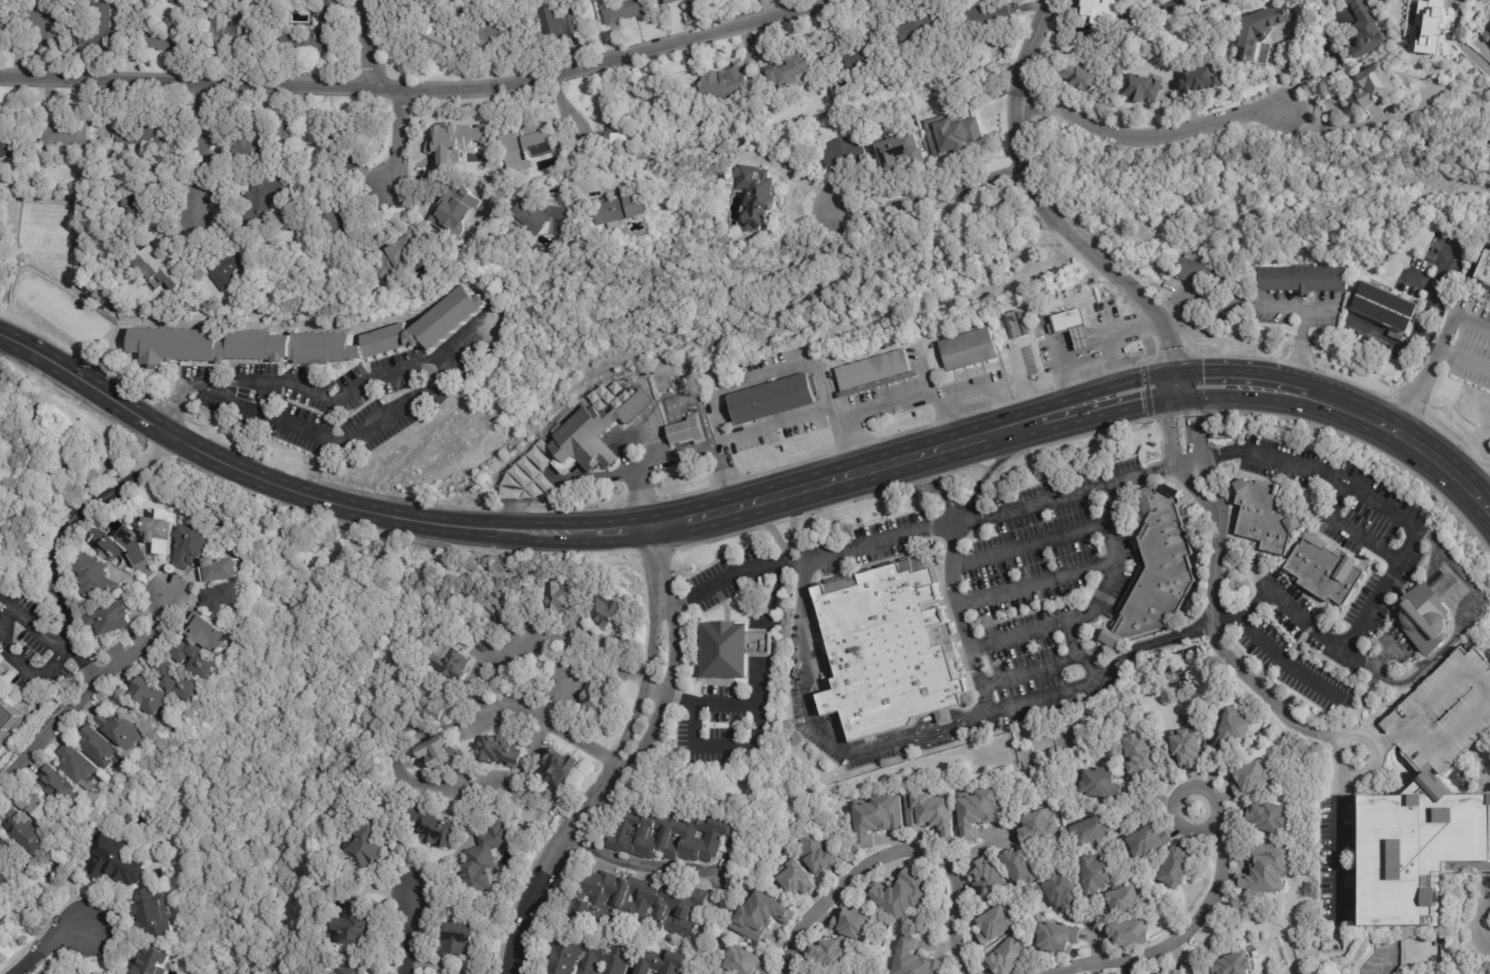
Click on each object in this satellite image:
building: (214, 0)
building: (698, 0)
building: (670, 1)
building: (1169, 6)
building: (1098, 7)
building: (628, 10)
building: (986, 19)
building: (566, 22)
building: (2, 23)
building: (1430, 26)
building: (40, 28)
building: (103, 29)
building: (319, 30)
building: (925, 31)
building: (1364, 31)
building: (1259, 33)
building: (236, 34)
building: (500, 34)
building: (169, 37)
building: (1488, 37)
building: (434, 39)
road: (367, 43)
building: (856, 54)
road: (1472, 57)
building: (801, 70)
building: (1473, 71)
road: (1318, 73)
building: (1075, 76)
building: (1198, 80)
building: (724, 81)
road: (422, 86)
building: (1371, 86)
building: (1141, 88)
road: (1017, 99)
building: (1459, 107)
road: (565, 132)
building: (147, 134)
building: (958, 134)
building: (613, 136)
road: (1150, 136)
building: (69, 138)
road: (398, 138)
building: (263, 140)
building: (11, 144)
road: (202, 145)
building: (346, 148)
building: (525, 148)
building: (903, 148)
building: (450, 151)
building: (845, 151)
building: (498, 186)
building: (514, 194)
road: (929, 194)
building: (269, 202)
building: (145, 207)
building: (459, 210)
building: (625, 210)
building: (756, 212)
building: (545, 217)
building: (338, 222)
road: (1074, 240)
building: (0, 241)
building: (402, 254)
building: (233, 267)
building: (1192, 267)
building: (1483, 270)
building: (165, 274)
building: (1303, 278)
road: (1417, 280)
road: (1428, 294)
road: (1227, 297)
building: (1383, 306)
building: (451, 314)
building: (1016, 325)
building: (1073, 326)
gas station: (1075, 327)
road: (1162, 329)
road: (1129, 331)
road: (471, 333)
road: (1301, 336)
road: (1392, 339)
parking lot: (1470, 344)
building: (263, 346)
traffic signals: (1169, 350)
building: (970, 351)
parking lot: (1046, 353)
road: (1435, 356)
road: (1465, 357)
road: (1082, 364)
traffic signals: (1203, 371)
building: (876, 373)
road: (1166, 374)
road: (764, 376)
road: (1294, 378)
road: (1259, 385)
road: (1019, 387)
road: (1285, 389)
building: (774, 399)
road: (1169, 399)
road: (1321, 399)
road: (697, 400)
traffic signals: (1142, 405)
road: (128, 410)
road: (833, 414)
traffic signals: (1194, 419)
road: (949, 420)
road: (1033, 421)
road: (661, 429)
road: (655, 432)
building: (686, 432)
road: (681, 434)
building: (592, 435)
road: (651, 435)
road: (647, 438)
road: (563, 441)
road: (155, 443)
road: (852, 443)
road: (685, 447)
road: (1421, 448)
road: (1198, 458)
road: (1188, 462)
road: (143, 463)
road: (1177, 464)
road: (724, 474)
road: (832, 479)
road: (1484, 491)
road: (637, 496)
road: (950, 506)
road: (1034, 507)
road: (378, 514)
building: (1264, 517)
road: (513, 519)
road: (667, 524)
road: (1343, 527)
road: (623, 530)
road: (547, 532)
road: (55, 537)
parking lot: (866, 542)
road: (1029, 542)
building: (123, 548)
building: (192, 549)
road: (833, 553)
road: (1395, 555)
building: (1159, 564)
building: (224, 571)
building: (1324, 571)
parking lot: (730, 576)
road: (721, 578)
building: (96, 579)
building: (902, 582)
road: (1036, 582)
parking lot: (1034, 589)
building: (863, 593)
building: (225, 598)
road: (771, 598)
building: (566, 601)
building: (823, 602)
building: (841, 603)
building: (1428, 612)
building: (608, 613)
building: (112, 619)
road: (1082, 619)
road: (1467, 619)
road: (32, 620)
road: (1019, 634)
building: (881, 636)
road: (542, 638)
road: (765, 643)
building: (732, 650)
building: (200, 654)
road: (81, 661)
road: (19, 662)
building: (452, 662)
road: (1285, 663)
road: (610, 665)
road: (1370, 667)
road: (1029, 671)
road: (977, 672)
building: (179, 679)
road: (762, 679)
road: (83, 689)
building: (148, 695)
building: (439, 700)
building: (599, 701)
road: (1279, 712)
building: (1444, 712)
parking garage: (1444, 712)
building: (7, 718)
road: (545, 721)
parking lot: (714, 727)
building: (1235, 727)
building: (121, 730)
road: (822, 733)
road: (729, 746)
building: (1185, 746)
building: (99, 748)
building: (501, 749)
building: (439, 752)
building: (1138, 754)
road: (615, 761)
building: (77, 764)
building: (559, 767)
road: (500, 776)
building: (1250, 777)
building: (1099, 783)
building: (60, 785)
building: (1188, 801)
building: (40, 804)
road: (1216, 808)
building: (981, 809)
building: (931, 812)
building: (1269, 816)
building: (877, 817)
building: (1036, 824)
building: (427, 825)
building: (25, 829)
building: (1090, 830)
building: (668, 835)
building: (1145, 840)
building: (5, 845)
building: (369, 847)
road: (1337, 849)
road: (900, 852)
building: (1422, 853)
building: (816, 854)
building: (481, 856)
building: (117, 862)
road: (644, 866)
building: (1018, 867)
building: (1174, 867)
building: (1265, 868)
building: (1095, 872)
building: (5, 879)
building: (985, 879)
building: (796, 880)
building: (1059, 890)
building: (901, 895)
road: (1487, 898)
building: (1121, 900)
building: (639, 904)
building: (154, 912)
building: (759, 915)
building: (357, 923)
building: (850, 924)
building: (993, 924)
road: (408, 931)
building: (1126, 932)
building: (1054, 936)
building: (461, 938)
road: (1175, 942)
road: (44, 943)
building: (828, 954)
building: (1007, 956)
building: (611, 959)
building: (914, 959)
building: (948, 959)
building: (742, 960)
building: (151, 961)
building: (1231, 965)
building: (356, 971)
building: (1175, 972)

